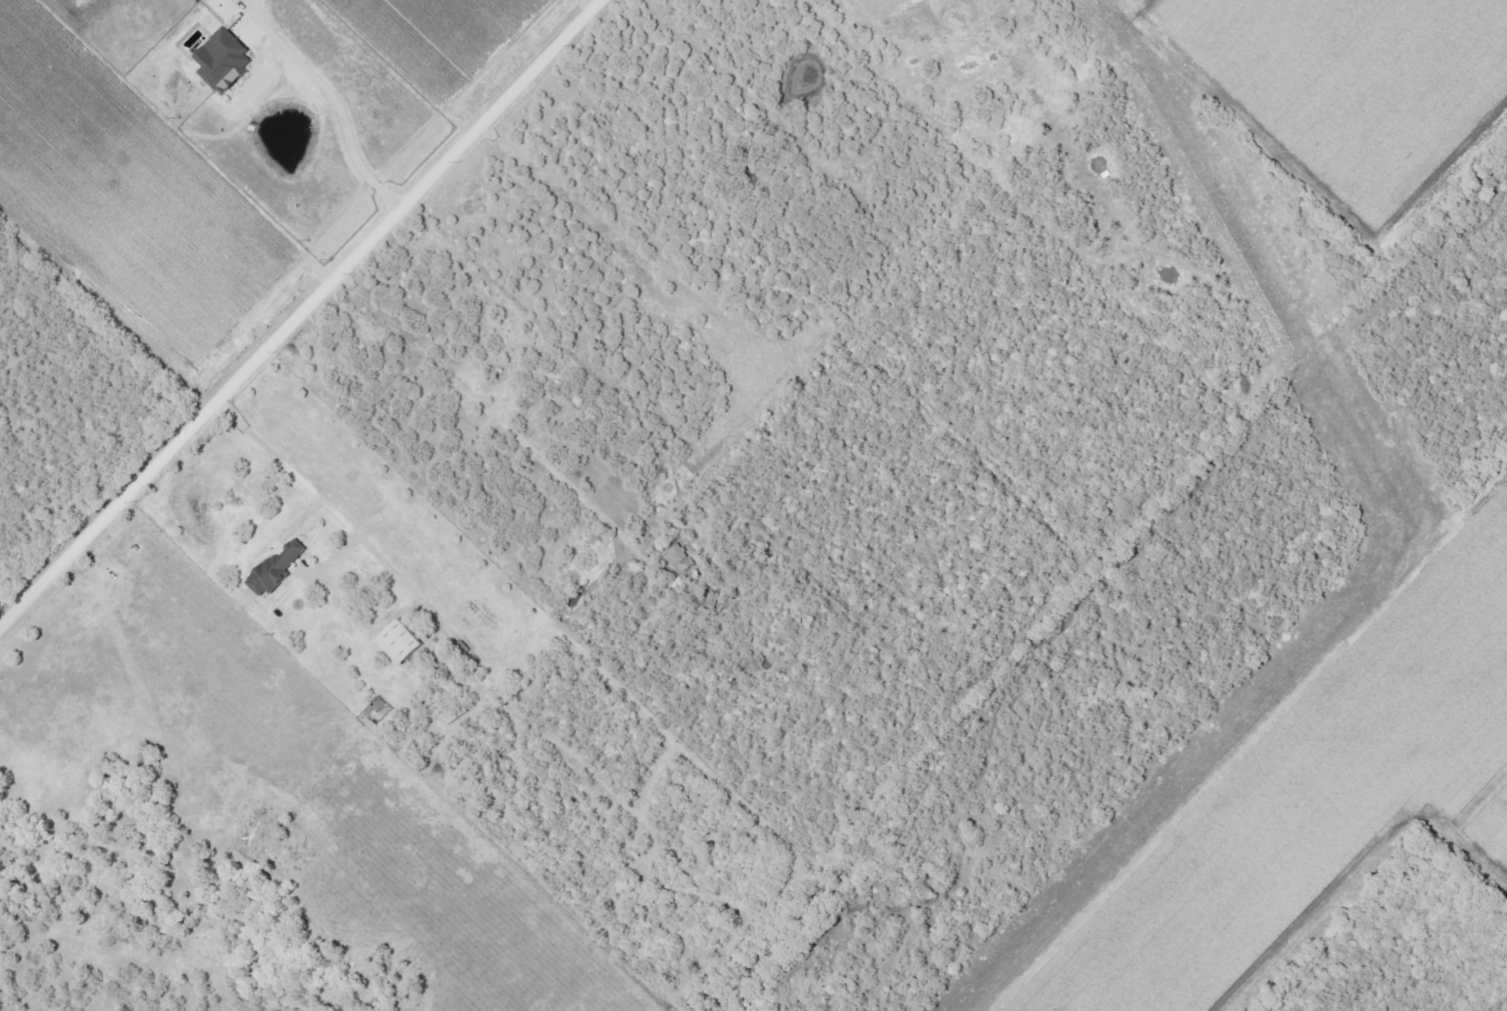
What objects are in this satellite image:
road: (868, 2)
building: (223, 65)
road: (338, 111)
crop: (217, 137)
road: (304, 315)
road: (331, 508)
building: (279, 569)
building: (398, 647)

